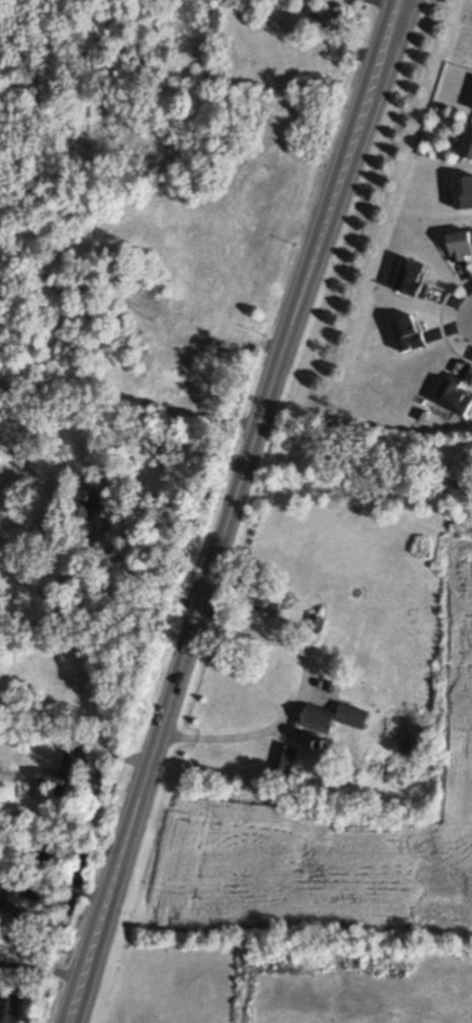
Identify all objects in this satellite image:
building: (329, 17)
building: (467, 143)
building: (463, 192)
building: (460, 244)
building: (412, 277)
building: (407, 334)
building: (454, 396)
road: (238, 486)
building: (90, 501)
road: (146, 577)
building: (269, 599)
building: (316, 624)
road: (299, 695)
building: (353, 715)
building: (318, 718)
building: (284, 756)
building: (62, 768)
crop: (323, 857)
road: (41, 966)
road: (73, 998)
building: (9, 1003)

